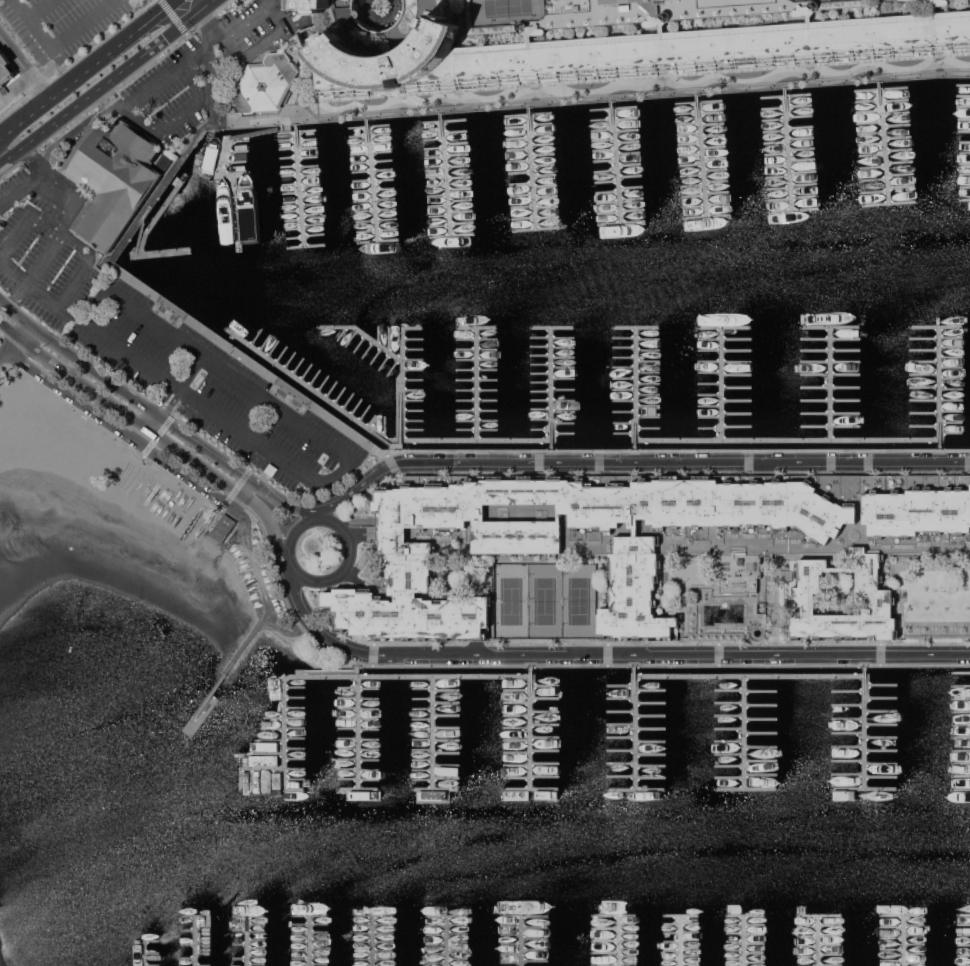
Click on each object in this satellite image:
park: (796, 0)
road: (269, 2)
road: (195, 5)
road: (39, 6)
park: (508, 11)
road: (194, 12)
road: (173, 16)
road: (37, 22)
parking lot: (60, 23)
road: (85, 23)
road: (204, 24)
road: (241, 25)
road: (258, 44)
building: (701, 45)
road: (77, 58)
building: (767, 60)
road: (23, 65)
road: (87, 66)
building: (4, 72)
road: (167, 74)
road: (211, 81)
building: (261, 83)
pier: (963, 85)
road: (114, 87)
pier: (881, 89)
road: (89, 93)
pier: (785, 96)
pier: (963, 96)
pier: (699, 101)
pier: (867, 101)
pier: (895, 101)
road: (107, 102)
pier: (786, 107)
pier: (963, 107)
pier: (613, 108)
pier: (868, 112)
pier: (687, 113)
pier: (711, 113)
pier: (896, 113)
pier: (527, 114)
road: (329, 115)
road: (179, 116)
pier: (799, 116)
pier: (614, 119)
pier: (963, 119)
pier: (444, 120)
pier: (774, 120)
pier: (869, 122)
pier: (688, 123)
pier: (712, 124)
pier: (897, 125)
pier: (368, 126)
pier: (528, 126)
pier: (800, 127)
pier: (432, 130)
pier: (602, 130)
pier: (626, 130)
pier: (296, 131)
pier: (775, 131)
pier: (454, 132)
pier: (964, 132)
road: (1, 133)
pier: (541, 133)
pier: (688, 133)
pier: (870, 133)
pier: (369, 135)
pier: (713, 135)
pier: (898, 137)
pier: (518, 138)
pier: (801, 138)
pier: (433, 139)
pier: (297, 140)
pier: (603, 140)
pier: (884, 141)
pier: (627, 142)
pier: (776, 142)
pier: (964, 142)
pier: (455, 143)
pier: (370, 144)
pier: (542, 144)
pier: (689, 144)
pier: (871, 144)
pier: (714, 147)
pier: (297, 148)
pier: (433, 148)
pier: (788, 148)
pier: (519, 149)
pier: (802, 149)
pier: (236, 150)
pier: (604, 150)
pier: (898, 150)
pier: (370, 153)
pier: (628, 153)
pier: (964, 153)
pier: (456, 154)
pier: (543, 154)
pier: (690, 154)
pier: (702, 154)
pier: (776, 154)
pier: (872, 155)
pier: (298, 157)
pier: (434, 157)
pier: (714, 158)
pier: (604, 160)
pier: (616, 160)
pier: (802, 160)
pier: (519, 161)
pier: (371, 162)
pier: (899, 162)
pier: (629, 164)
pier: (691, 164)
pier: (964, 164)
pier: (435, 165)
pier: (457, 165)
pier: (532, 165)
pier: (543, 165)
pier: (777, 165)
pier: (299, 166)
pier: (873, 167)
pier: (220, 168)
pier: (715, 169)
pier: (372, 170)
pier: (605, 171)
road: (49, 172)
pier: (445, 172)
pier: (520, 172)
pier: (803, 172)
pier: (242, 173)
pier: (300, 175)
pier: (544, 175)
pier: (692, 175)
pier: (900, 175)
pier: (964, 175)
pier: (435, 176)
pier: (630, 176)
building: (114, 177)
pier: (371, 177)
pier: (458, 177)
pier: (778, 177)
pier: (362, 180)
pier: (383, 180)
pier: (874, 180)
pier: (606, 181)
pier: (716, 181)
pier: (299, 182)
road: (21, 184)
pier: (290, 184)
pier: (521, 184)
pier: (804, 184)
pier: (310, 185)
pier: (436, 185)
pier: (545, 185)
pier: (692, 186)
pier: (631, 187)
pier: (901, 187)
pier: (965, 187)
pier: (384, 188)
pier: (459, 188)
pier: (779, 188)
pier: (363, 190)
pier: (607, 192)
pier: (717, 192)
pier: (874, 192)
pier: (291, 193)
pier: (310, 193)
pier: (521, 194)
pier: (437, 195)
pier: (546, 196)
pier: (693, 196)
pier: (632, 198)
pier: (793, 198)
pier: (374, 199)
pier: (460, 200)
pier: (964, 200)
pier: (292, 201)
pier: (608, 202)
pier: (311, 204)
pier: (889, 204)
pier: (438, 205)
pier: (706, 205)
pier: (534, 206)
pier: (375, 210)
pier: (793, 210)
pier: (293, 211)
pier: (461, 211)
pier: (621, 212)
pier: (312, 215)
pier: (438, 215)
pier: (535, 217)
pier: (706, 217)
pier: (294, 219)
pier: (376, 220)
pier: (462, 223)
pier: (621, 223)
pier: (313, 224)
pier: (439, 226)
pier: (294, 229)
pier: (536, 229)
road: (16, 230)
pier: (377, 231)
pier: (314, 234)
pier: (452, 235)
pier: (295, 237)
road: (84, 240)
pier: (378, 241)
pier: (305, 245)
road: (91, 249)
parking lot: (42, 251)
pier: (134, 251)
road: (42, 258)
road: (84, 265)
road: (12, 271)
road: (111, 281)
road: (16, 296)
pier: (249, 325)
pier: (608, 325)
pier: (767, 325)
pier: (939, 325)
pier: (313, 326)
pier: (386, 326)
pier: (460, 326)
pier: (535, 326)
pier: (684, 326)
pier: (854, 326)
road: (21, 327)
pier: (248, 334)
pier: (312, 335)
pier: (386, 335)
pier: (460, 335)
pier: (535, 335)
pier: (608, 335)
pier: (684, 335)
pier: (939, 335)
road: (5, 336)
pier: (768, 336)
pier: (854, 336)
road: (8, 343)
pier: (608, 343)
pier: (684, 343)
pier: (312, 344)
pier: (386, 344)
pier: (460, 344)
pier: (535, 344)
pier: (768, 345)
pier: (854, 346)
pier: (939, 346)
pier: (386, 352)
pier: (535, 352)
pier: (608, 352)
pier: (672, 352)
pier: (312, 353)
pier: (460, 353)
pier: (695, 355)
pier: (768, 355)
pier: (854, 355)
pier: (939, 355)
pier: (312, 359)
pier: (312, 361)
pier: (386, 361)
pier: (460, 361)
pier: (534, 361)
pier: (609, 361)
pier: (672, 361)
pier: (768, 364)
pier: (853, 364)
pier: (939, 364)
pier: (695, 365)
pier: (672, 369)
pier: (322, 370)
pier: (386, 370)
pier: (460, 370)
pier: (535, 370)
pier: (609, 370)
pier: (695, 374)
pier: (768, 374)
pier: (854, 374)
pier: (939, 374)
pier: (386, 378)
pier: (460, 378)
pier: (535, 378)
pier: (609, 378)
pier: (672, 378)
pier: (323, 379)
pier: (695, 383)
pier: (854, 383)
pier: (769, 384)
pier: (939, 384)
pier: (302, 385)
pier: (608, 386)
pier: (768, 386)
pier: (939, 386)
pier: (322, 387)
pier: (386, 387)
pier: (386, 387)
pier: (461, 387)
pier: (461, 387)
pier: (534, 387)
pier: (535, 387)
pier: (609, 387)
pier: (672, 387)
pier: (683, 387)
pier: (853, 387)
parking lot: (215, 393)
pier: (769, 393)
pier: (695, 394)
pier: (853, 394)
pier: (939, 394)
pier: (461, 396)
pier: (535, 396)
pier: (386, 397)
pier: (609, 397)
pier: (672, 397)
road: (271, 403)
pier: (695, 403)
pier: (939, 403)
pier: (460, 404)
pier: (768, 404)
pier: (854, 404)
pier: (386, 406)
pier: (535, 406)
pier: (608, 406)
pier: (672, 406)
pier: (460, 413)
pier: (695, 413)
pier: (768, 413)
pier: (854, 413)
pier: (939, 413)
pier: (386, 415)
pier: (535, 415)
pier: (609, 415)
pier: (672, 415)
pier: (461, 422)
pier: (695, 423)
pier: (768, 423)
pier: (853, 423)
pier: (939, 423)
pier: (397, 424)
pier: (535, 424)
pier: (608, 424)
pier: (672, 425)
pier: (461, 430)
pier: (768, 432)
pier: (397, 433)
pier: (535, 433)
pier: (608, 433)
pier: (853, 433)
pier: (939, 433)
pier: (684, 434)
pier: (460, 439)
pier: (397, 443)
pier: (535, 443)
pier: (608, 443)
pier: (684, 443)
pier: (768, 443)
pier: (853, 443)
pier: (939, 443)
road: (444, 460)
road: (208, 469)
road: (186, 475)
road: (322, 512)
building: (224, 527)
road: (292, 531)
building: (653, 543)
road: (287, 563)
road: (344, 568)
park: (509, 602)
park: (545, 602)
park: (580, 602)
road: (957, 616)
road: (246, 641)
road: (668, 654)
pier: (339, 672)
pier: (480, 672)
pier: (573, 672)
pier: (671, 672)
pier: (768, 672)
pier: (961, 672)
pier: (868, 673)
pier: (403, 677)
pier: (313, 680)
pier: (339, 682)
pier: (466, 683)
pier: (574, 684)
pier: (671, 684)
pier: (768, 684)
pier: (403, 685)
pier: (490, 685)
pier: (868, 685)
pier: (960, 685)
pier: (309, 690)
pier: (339, 691)
pier: (466, 693)
road: (209, 694)
pier: (402, 694)
pier: (671, 696)
pier: (768, 696)
pier: (852, 696)
pier: (305, 697)
pier: (491, 697)
pier: (573, 697)
pier: (883, 698)
pier: (961, 698)
pier: (339, 700)
pier: (466, 702)
pier: (403, 703)
pier: (301, 706)
pier: (671, 707)
pier: (852, 707)
pier: (491, 708)
pier: (574, 708)
pier: (768, 708)
pier: (339, 710)
pier: (402, 711)
pier: (466, 711)
pier: (961, 711)
pier: (883, 712)
pier: (199, 714)
pier: (297, 715)
pier: (339, 719)
pier: (671, 719)
pier: (768, 719)
pier: (402, 720)
pier: (480, 720)
pier: (574, 720)
pier: (852, 720)
pier: (292, 724)
pier: (883, 725)
pier: (961, 725)
pier: (339, 728)
pier: (466, 728)
pier: (671, 728)
pier: (768, 728)
pier: (867, 728)
pier: (329, 729)
pier: (402, 729)
pier: (402, 729)
pier: (477, 729)
pier: (574, 729)
pier: (768, 730)
pier: (490, 732)
pier: (671, 732)
pier: (852, 732)
pier: (289, 733)
pier: (302, 733)
pier: (573, 733)
pier: (339, 737)
pier: (961, 737)
pier: (403, 738)
pier: (466, 738)
pier: (883, 738)
pier: (285, 742)
pier: (491, 743)
pier: (671, 743)
pier: (768, 743)
pier: (574, 744)
pier: (852, 744)
pier: (339, 746)
pier: (403, 746)
pier: (466, 747)
pier: (281, 749)
pier: (883, 750)
pier: (960, 751)
pier: (403, 754)
pier: (340, 755)
pier: (671, 755)
pier: (768, 755)
pier: (852, 755)
pier: (308, 756)
pier: (574, 756)
pier: (480, 757)
pier: (277, 758)
pier: (392, 763)
pier: (883, 763)
pier: (960, 763)
pier: (339, 765)
pier: (413, 765)
pier: (466, 765)
pier: (671, 766)
pier: (768, 766)
pier: (273, 767)
pier: (491, 768)
pier: (573, 768)
pier: (852, 768)
pier: (291, 773)
pier: (402, 773)
pier: (339, 774)
pier: (466, 774)
pier: (268, 776)
pier: (960, 776)
pier: (868, 777)
pier: (768, 778)
pier: (490, 779)
pier: (574, 779)
pier: (671, 779)
pier: (403, 781)
pier: (339, 782)
pier: (466, 782)
pier: (264, 785)
pier: (479, 790)
pier: (573, 790)
pier: (671, 790)
pier: (768, 790)
pier: (868, 790)
pier: (339, 791)
pier: (403, 791)
pier: (960, 791)
pier: (372, 940)
pier: (193, 941)
pier: (308, 941)
pier: (446, 941)
pier: (520, 941)
pier: (617, 941)
pier: (680, 941)
pier: (743, 941)
pier: (817, 941)
pier: (903, 941)
pier: (247, 942)
pier: (145, 953)

